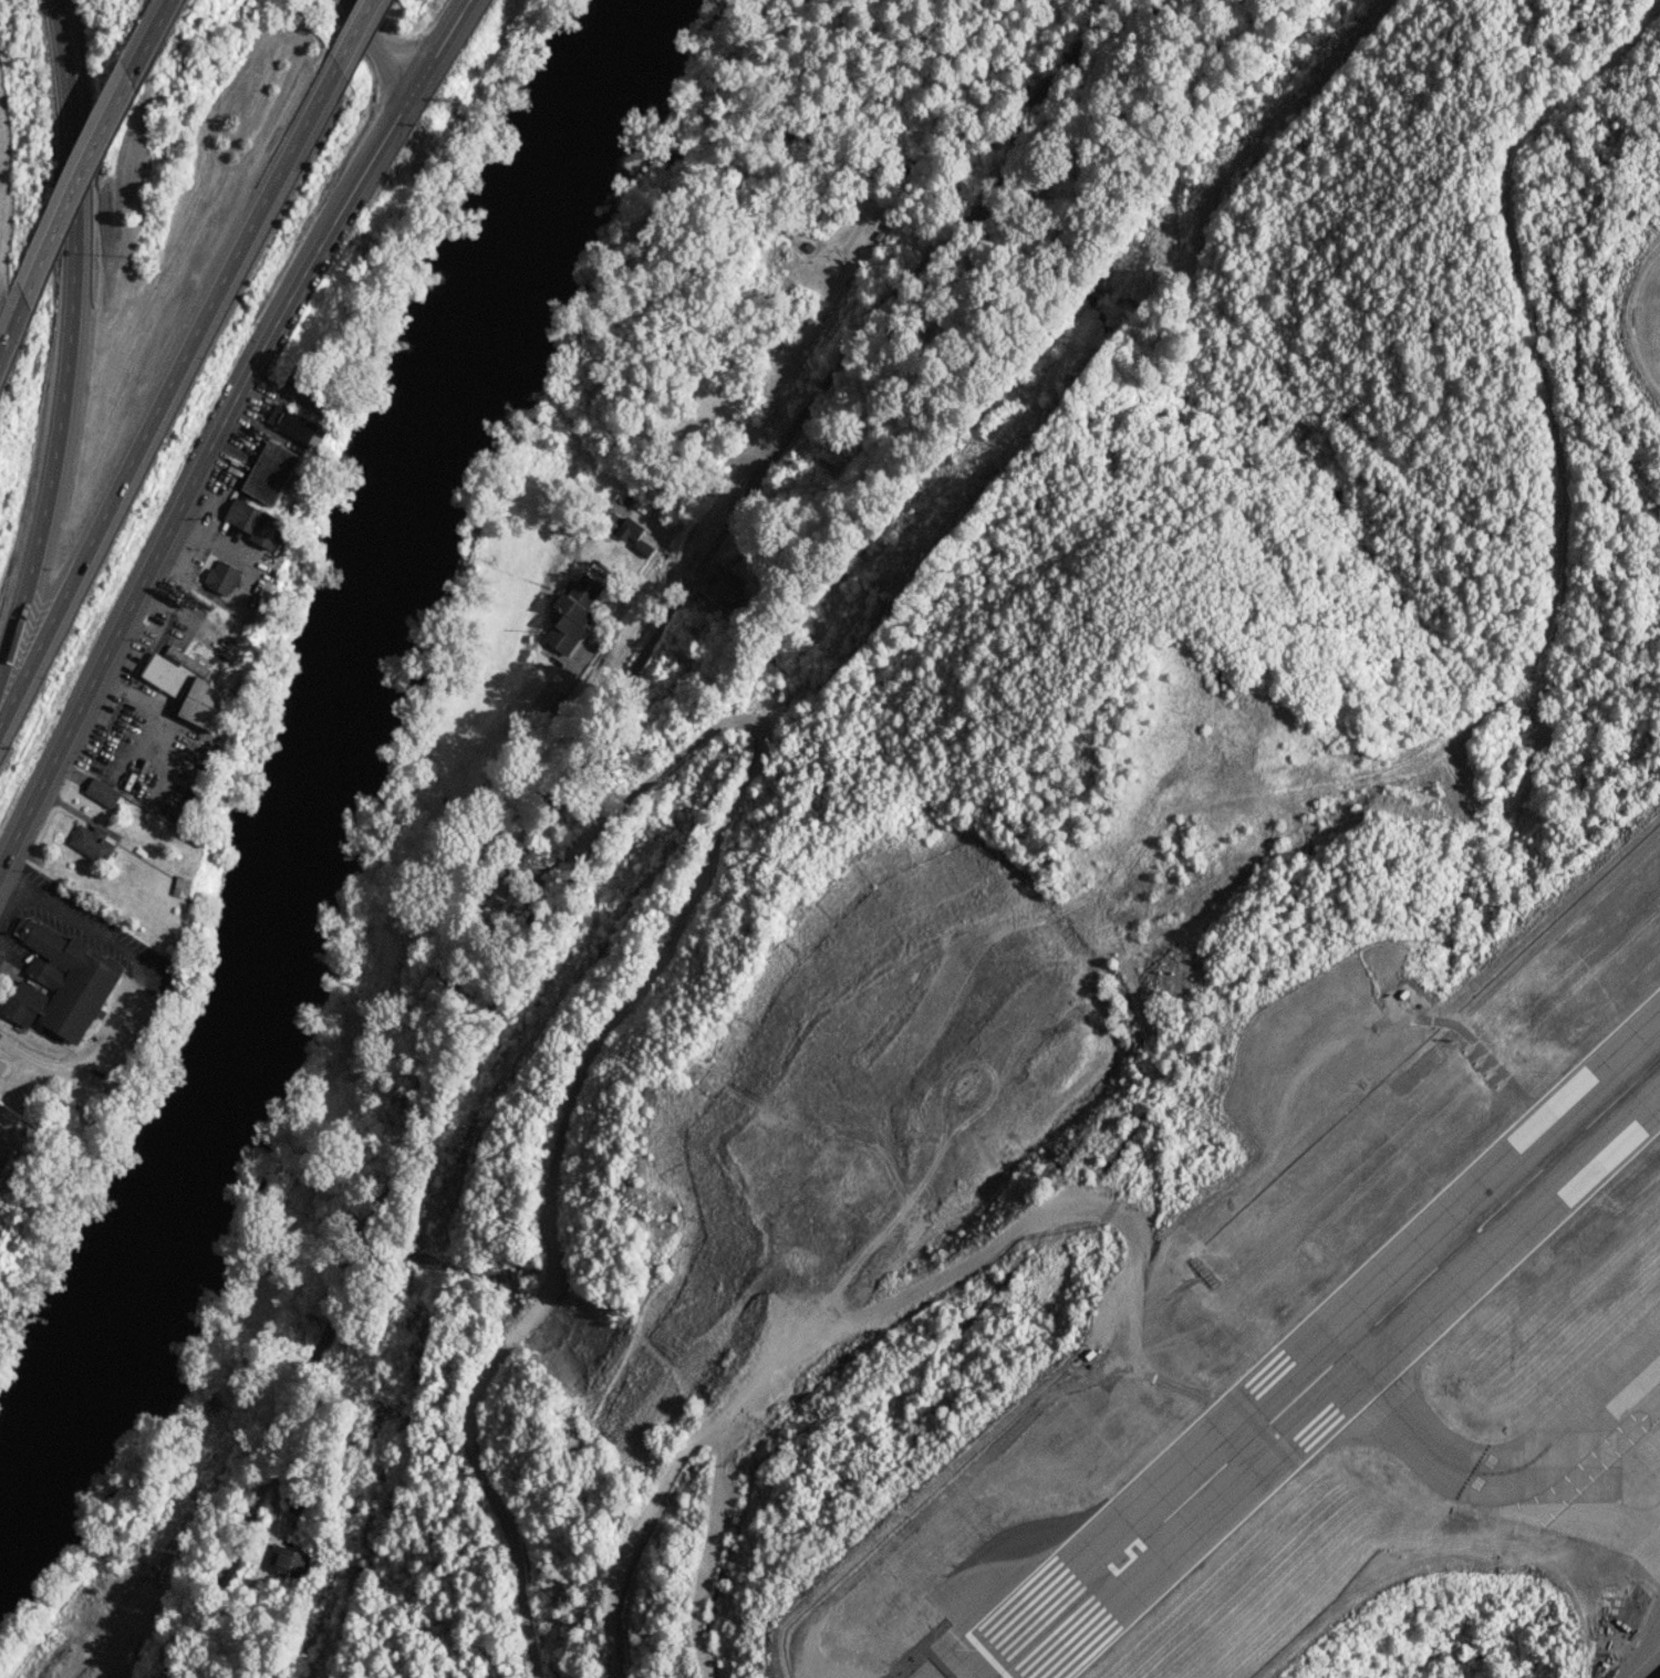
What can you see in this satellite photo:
road: (371, 32)
road: (356, 33)
road: (151, 41)
power tower: (1328, 48)
road: (406, 73)
road: (75, 191)
power tower: (1200, 198)
railway: (935, 204)
airport: (1623, 330)
road: (12, 331)
road: (69, 345)
road: (166, 394)
building: (297, 425)
road: (222, 429)
power tower: (993, 445)
road: (747, 460)
building: (270, 472)
road: (695, 499)
building: (256, 523)
building: (621, 525)
building: (642, 548)
power tower: (886, 569)
building: (221, 577)
building: (722, 586)
building: (571, 613)
building: (189, 688)
river: (304, 755)
power tower: (720, 760)
building: (102, 792)
road: (556, 792)
building: (92, 843)
building: (180, 886)
road: (6, 956)
road: (142, 983)
building: (61, 984)
road: (609, 1019)
building: (1, 1066)
power tower: (465, 1129)
road: (797, 1332)
airport runway: (1328, 1367)
airport: (1265, 1372)
power tower: (364, 1383)
power tower: (391, 1400)
airport taxiway: (1403, 1420)
airport taxiway: (1574, 1422)
airport taxiway: (1553, 1471)
airport apron: (1621, 1503)
building: (297, 1504)
building: (287, 1561)
building: (1659, 1677)

